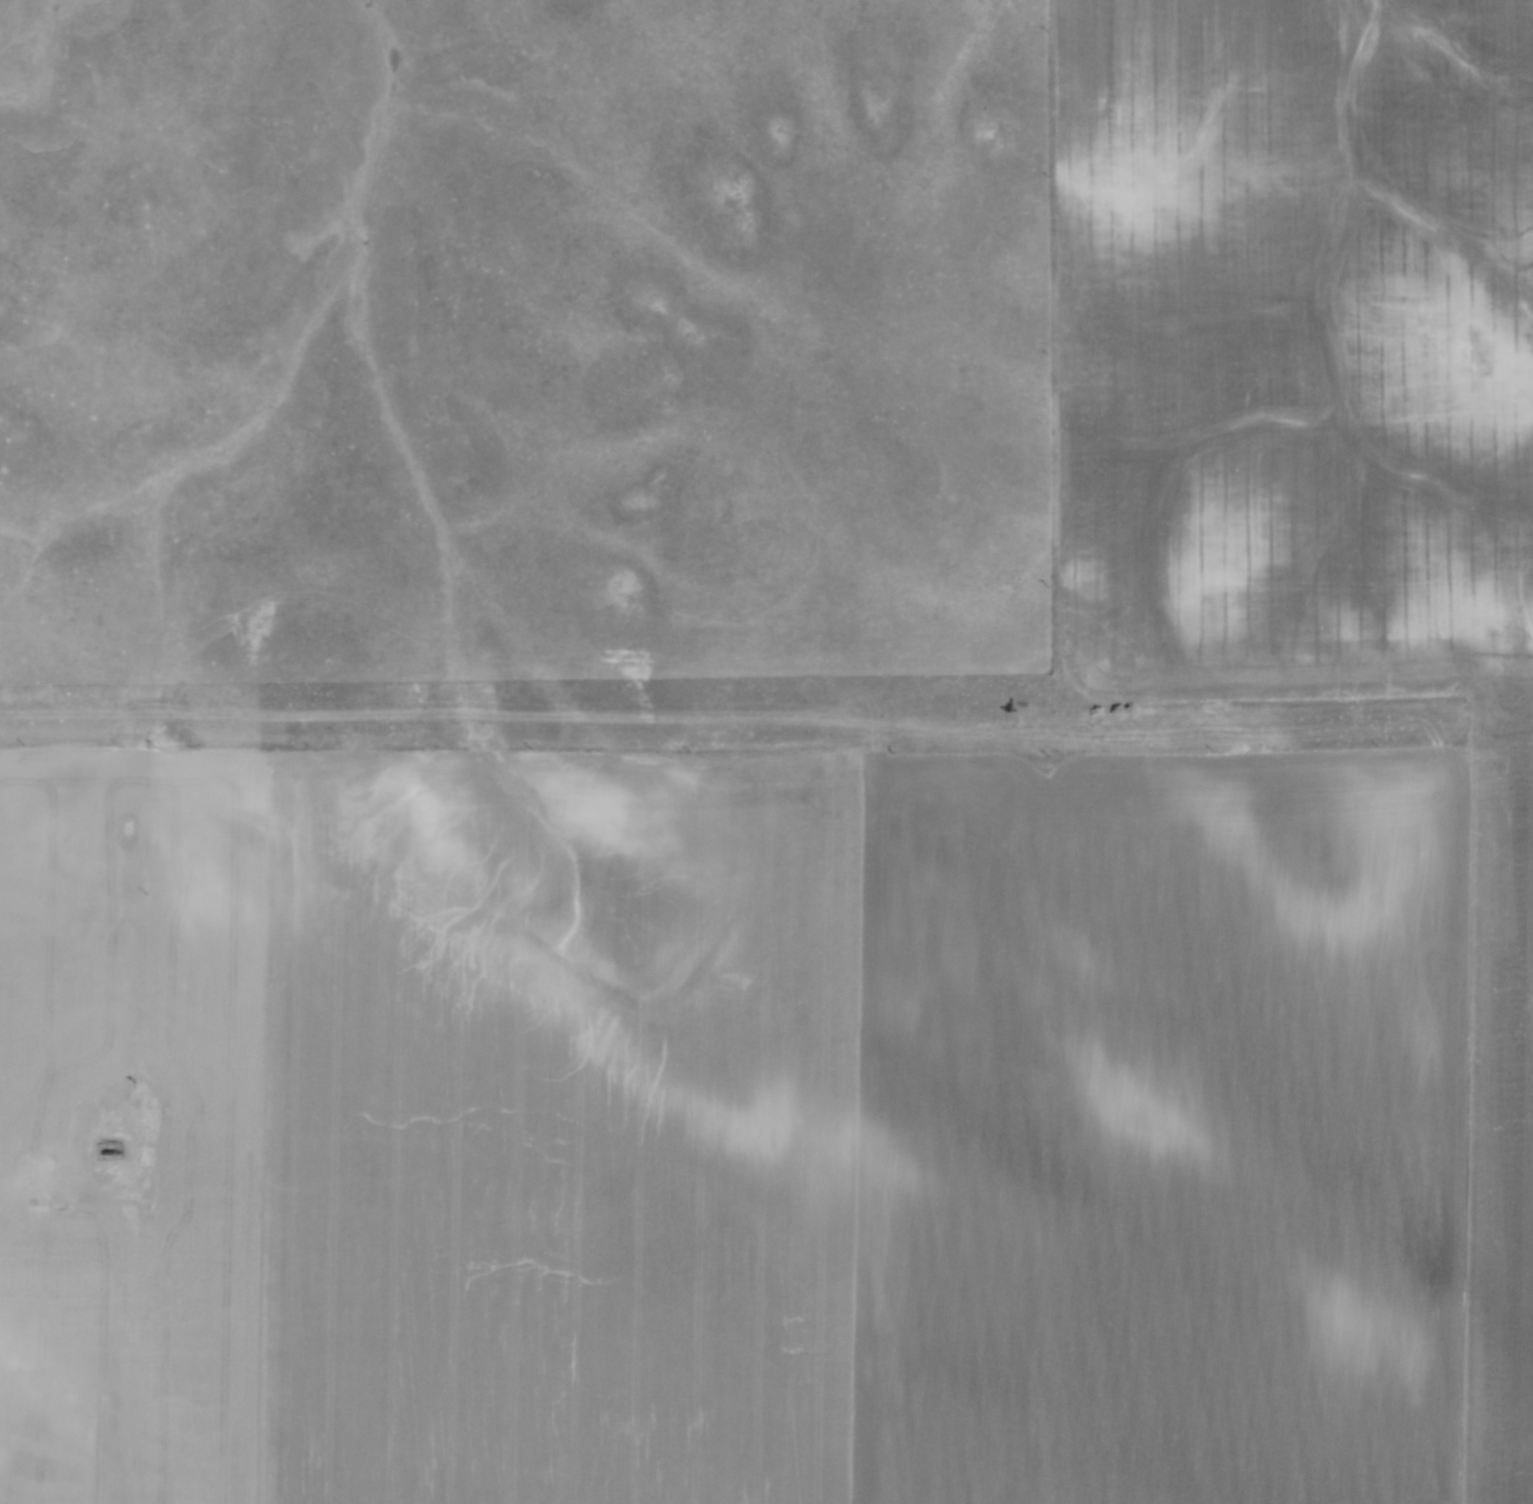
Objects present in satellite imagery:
crop: (884, 951)

